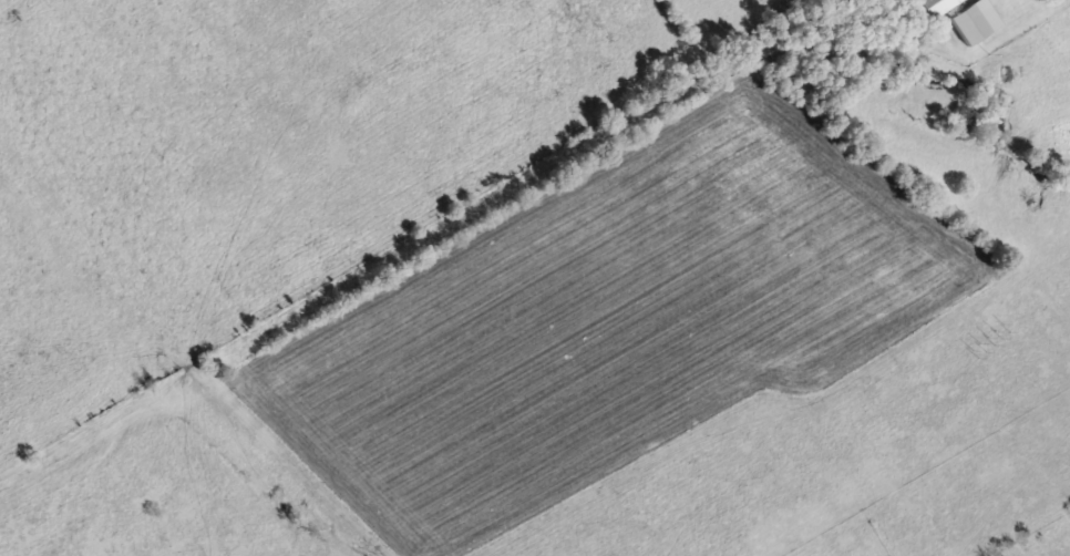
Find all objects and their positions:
building: (937, 6)
building: (976, 21)

